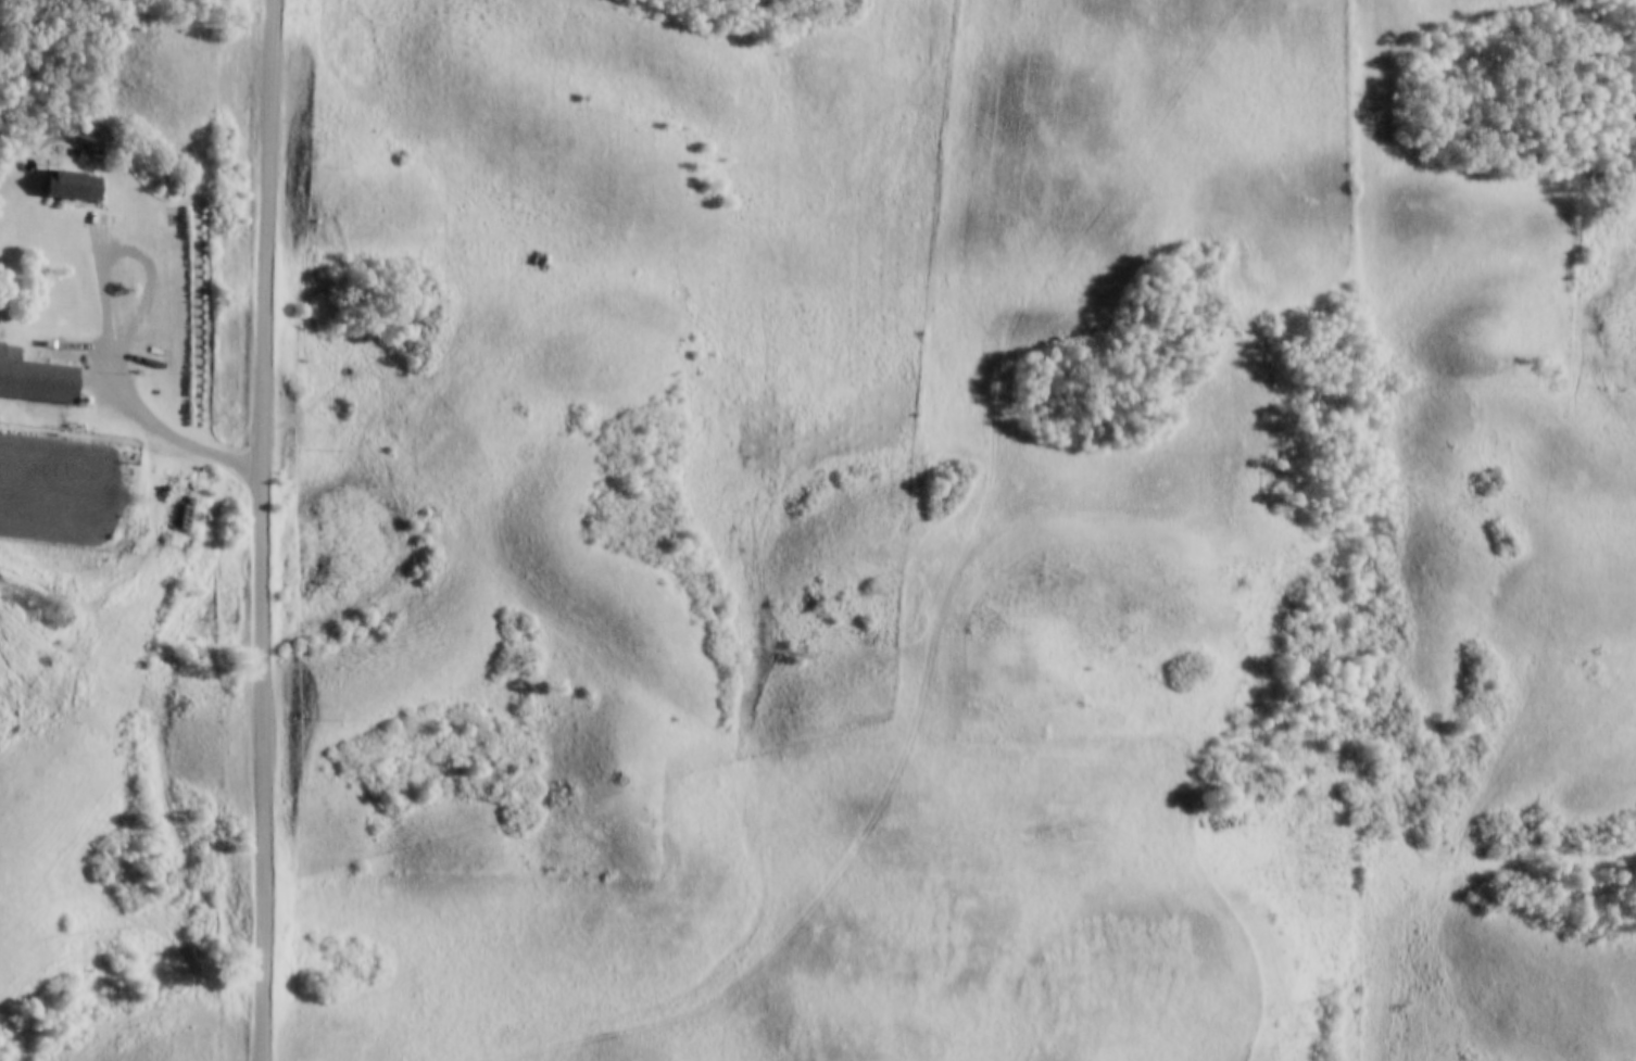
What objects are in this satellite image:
building: (76, 185)
road: (127, 368)
building: (36, 376)
road: (260, 530)

